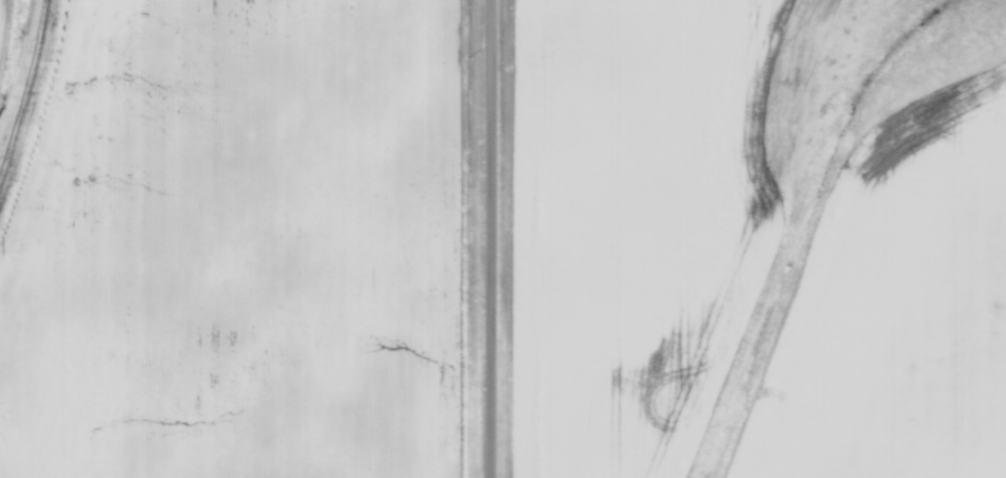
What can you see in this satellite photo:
road: (487, 238)

